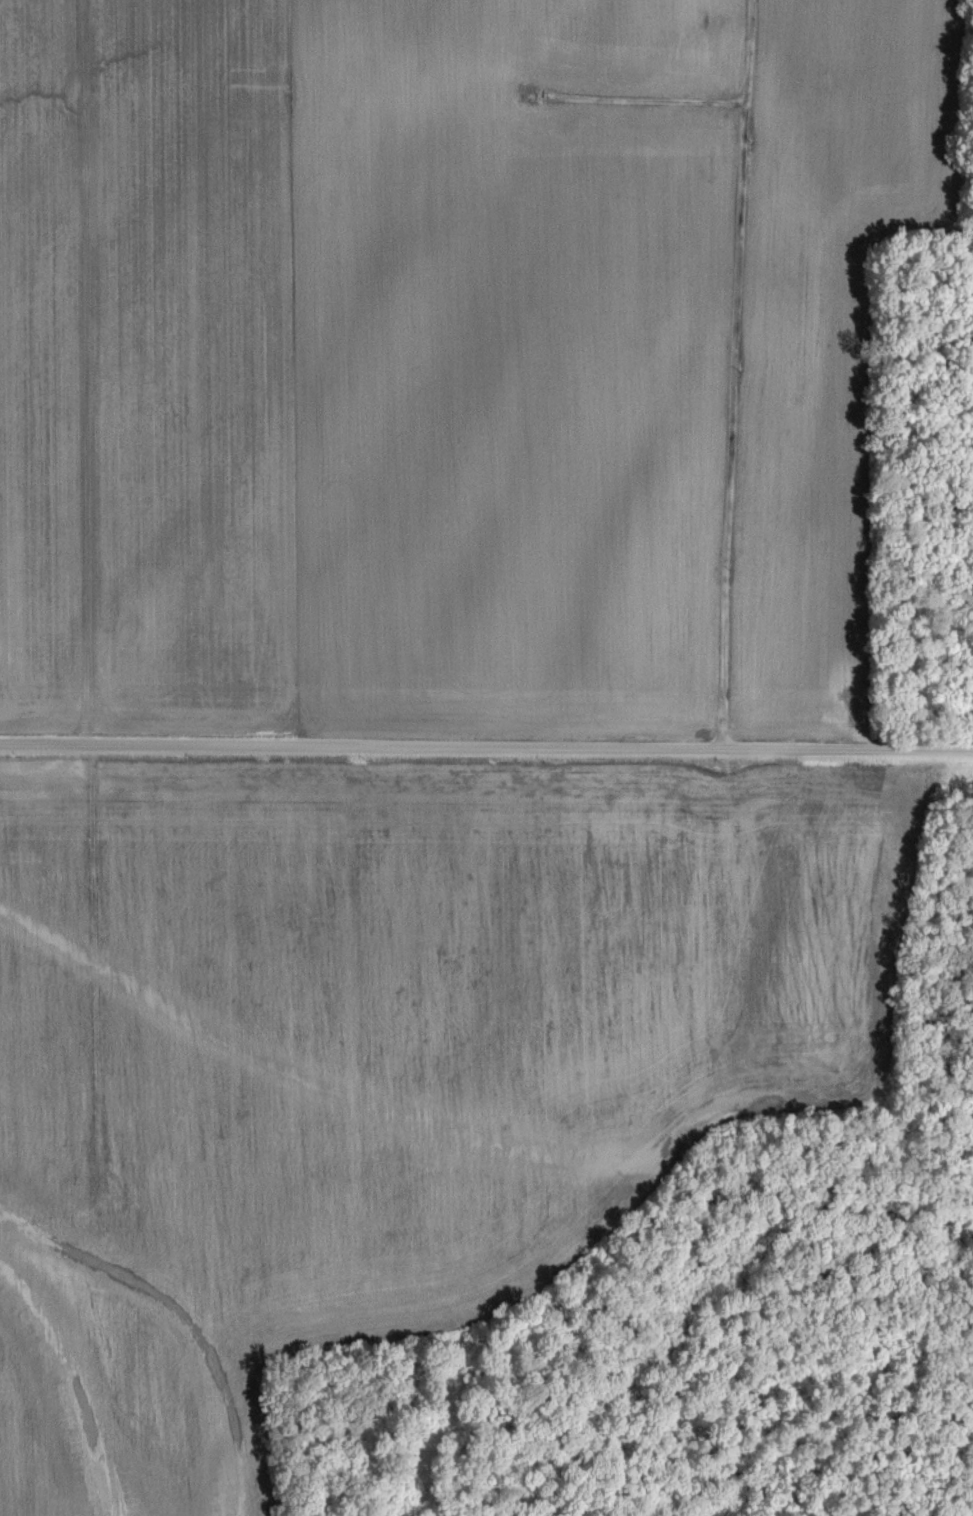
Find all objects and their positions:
road: (637, 99)
road: (730, 374)
road: (90, 586)
road: (486, 748)

